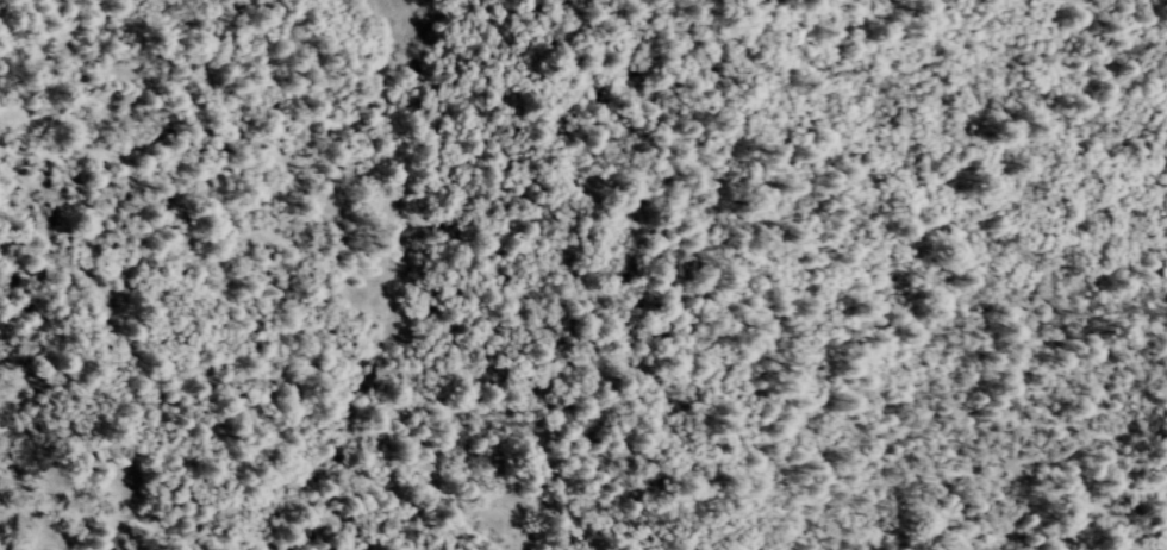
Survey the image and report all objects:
road: (380, 7)

